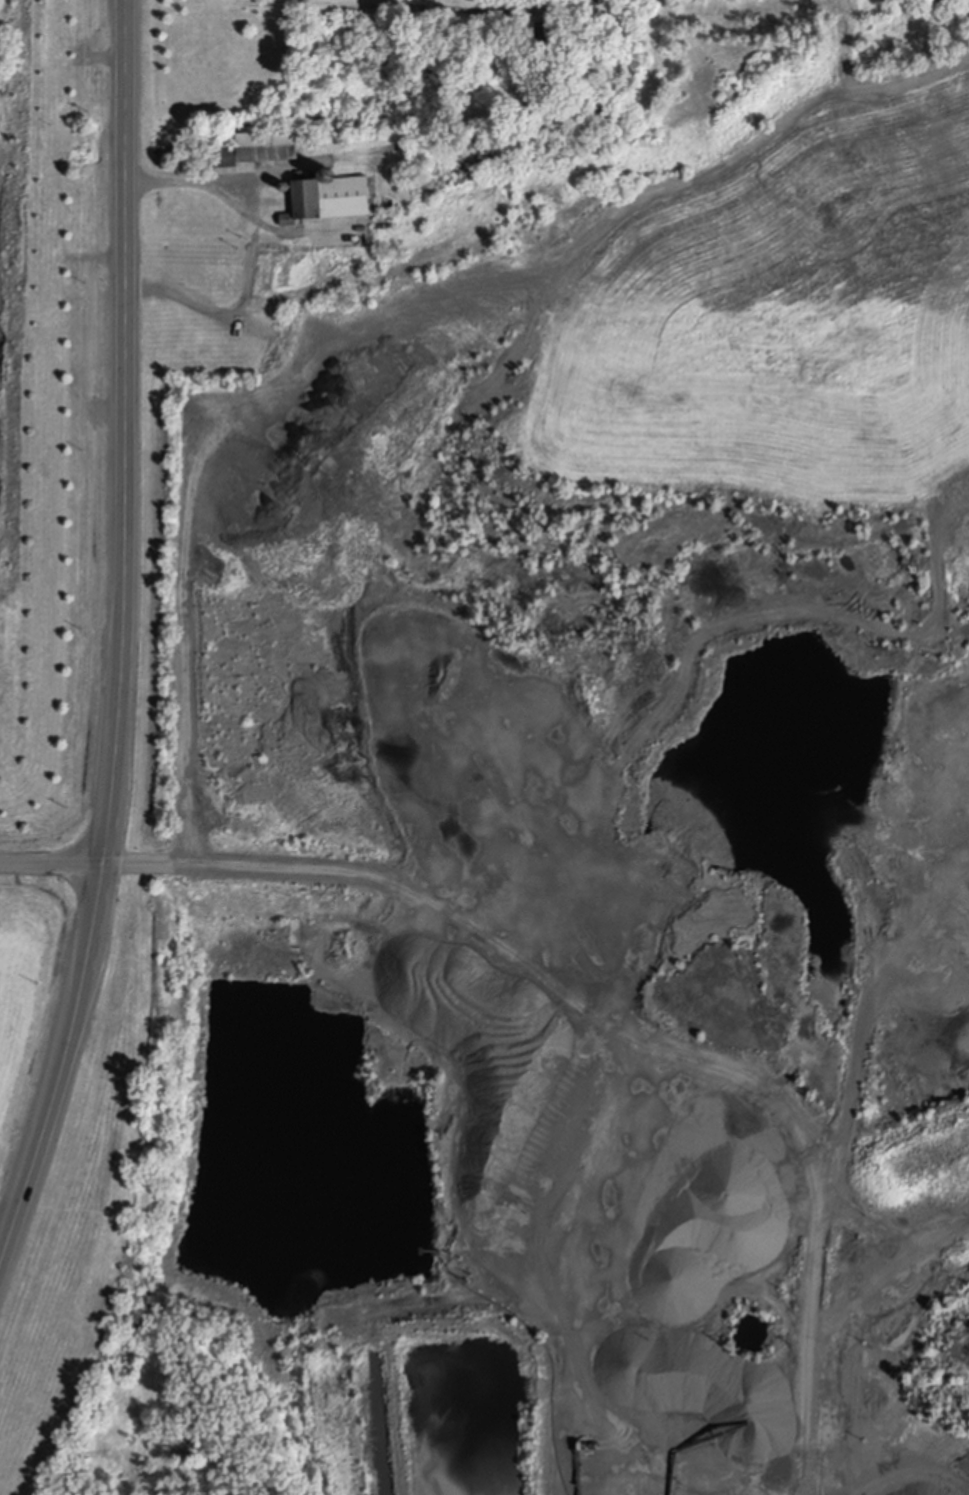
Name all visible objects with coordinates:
building: (542, 36)
building: (49, 80)
building: (267, 149)
building: (223, 159)
building: (328, 174)
building: (329, 203)
building: (46, 207)
building: (193, 219)
building: (369, 237)
building: (17, 247)
road: (260, 250)
building: (8, 288)
road: (121, 642)
quarry: (489, 777)

